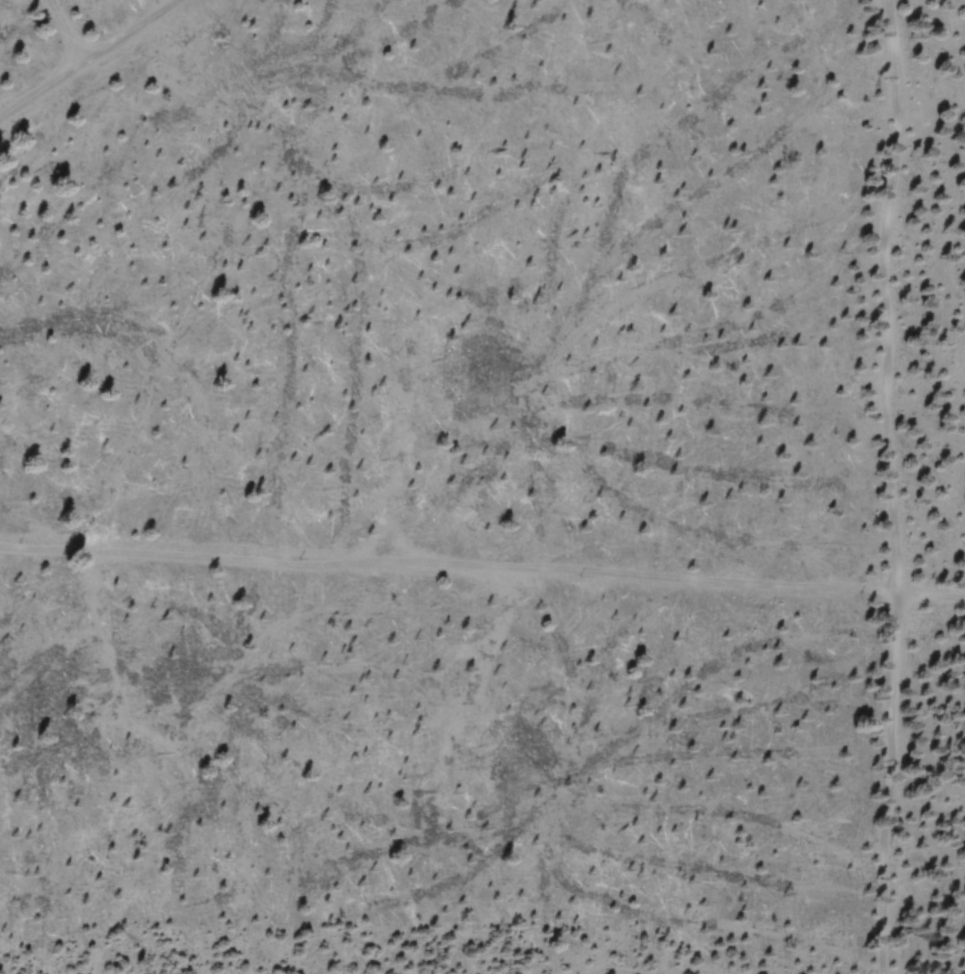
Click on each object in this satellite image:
road: (64, 31)
road: (86, 58)
road: (896, 486)
road: (482, 570)

